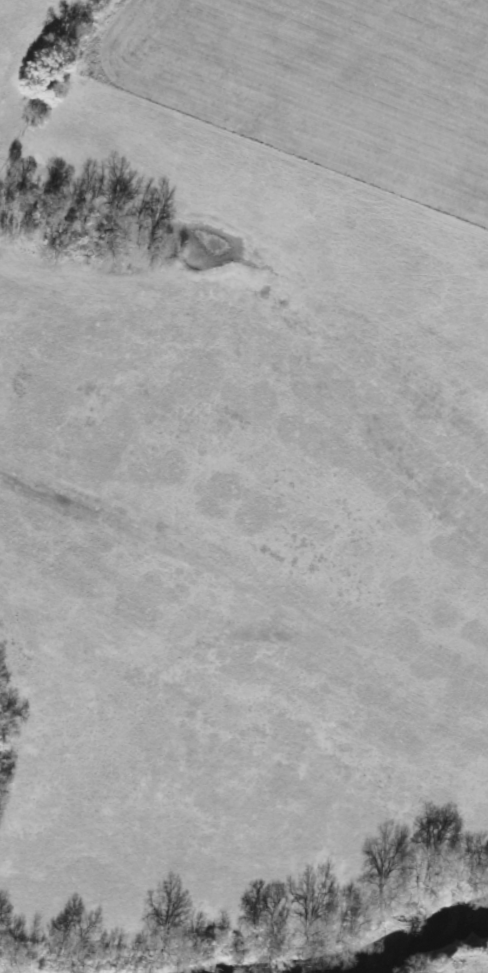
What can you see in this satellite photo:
river: (414, 932)

